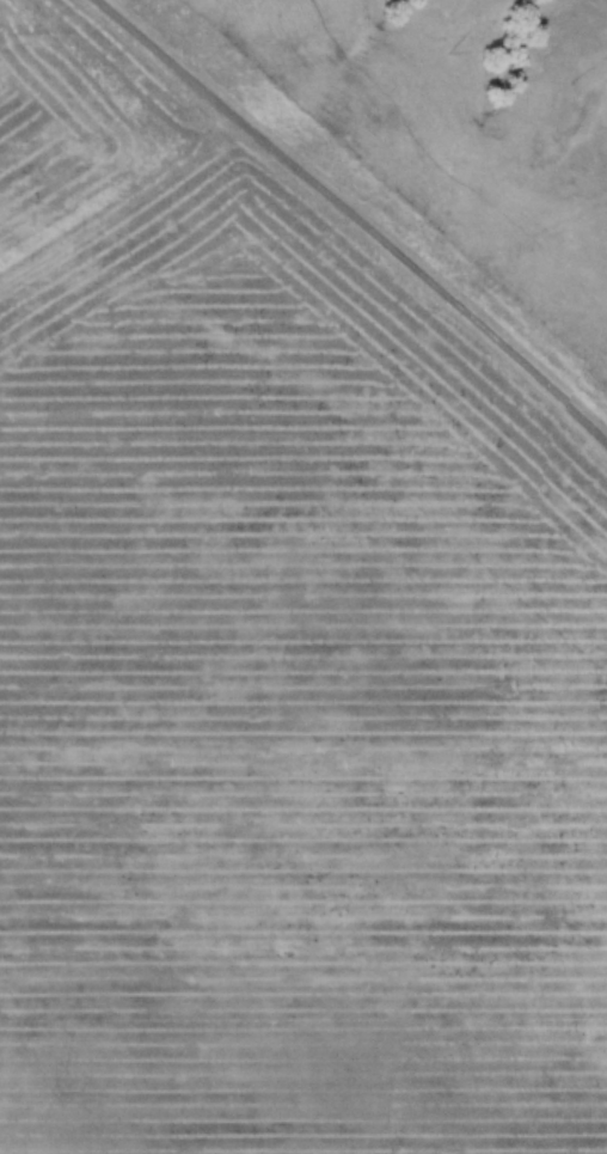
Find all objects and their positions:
road: (400, 183)

